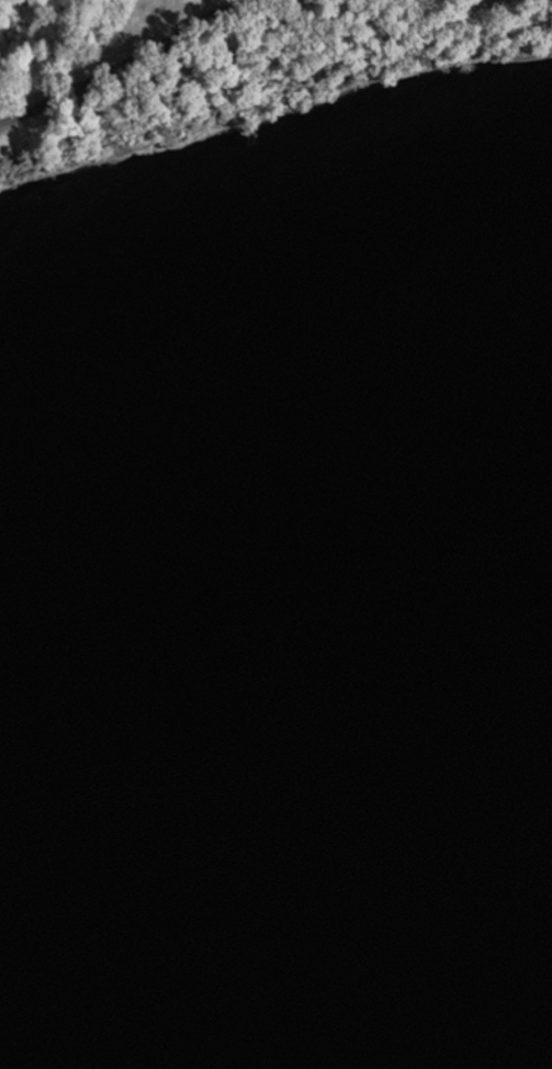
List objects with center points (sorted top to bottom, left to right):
road: (123, 63)
river: (275, 823)

